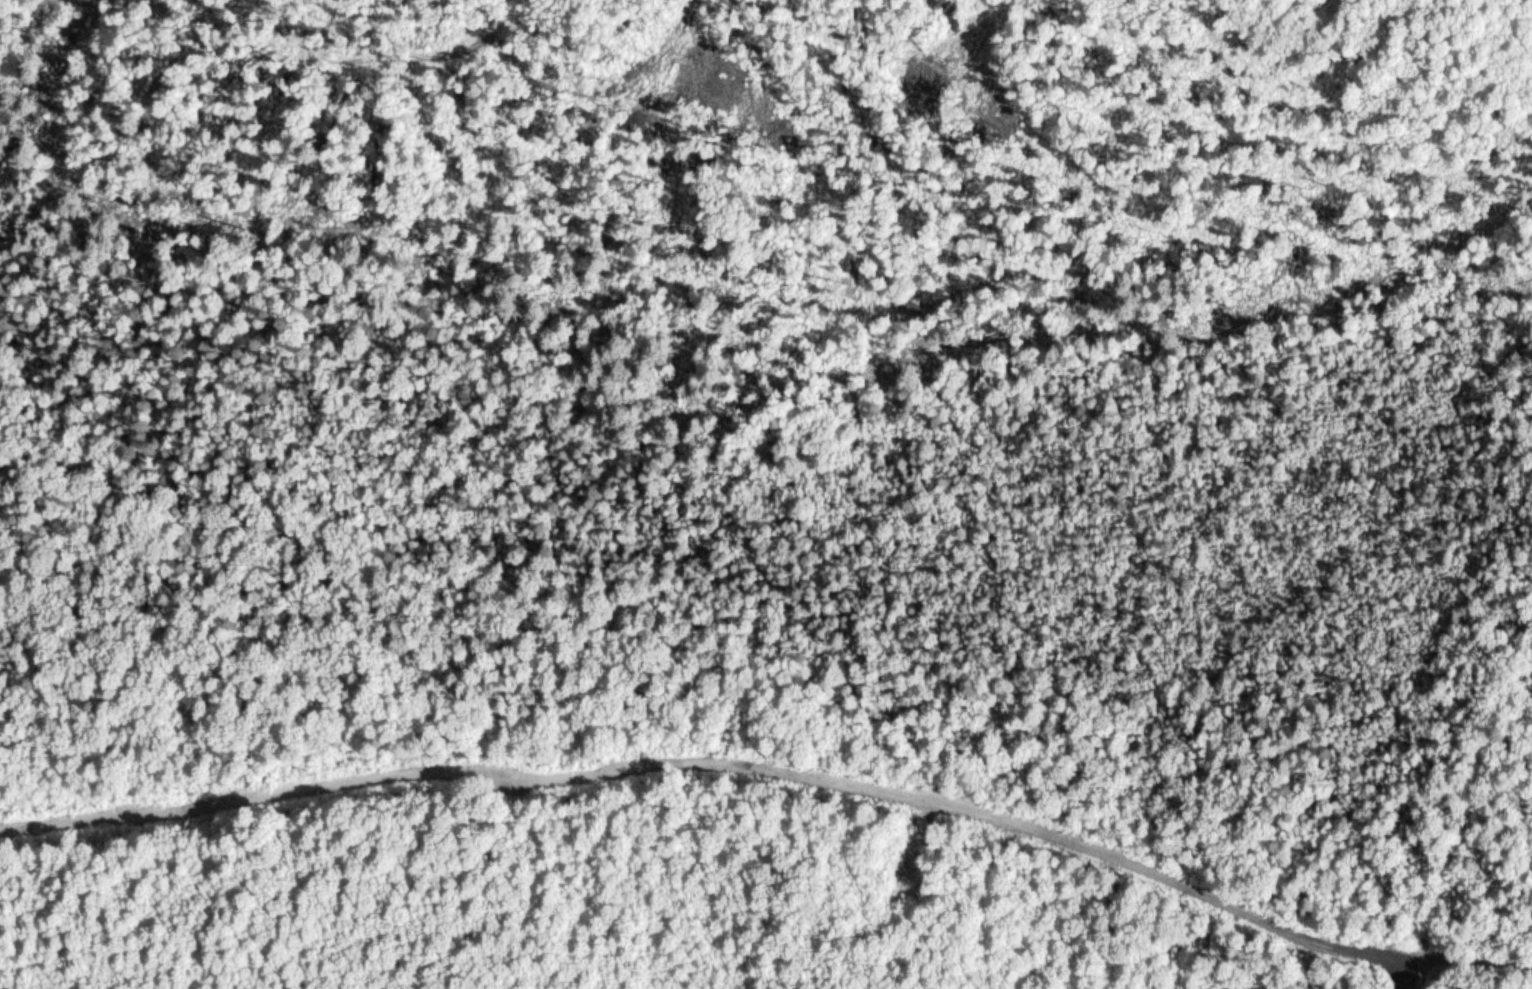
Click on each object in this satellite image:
road: (780, 776)

